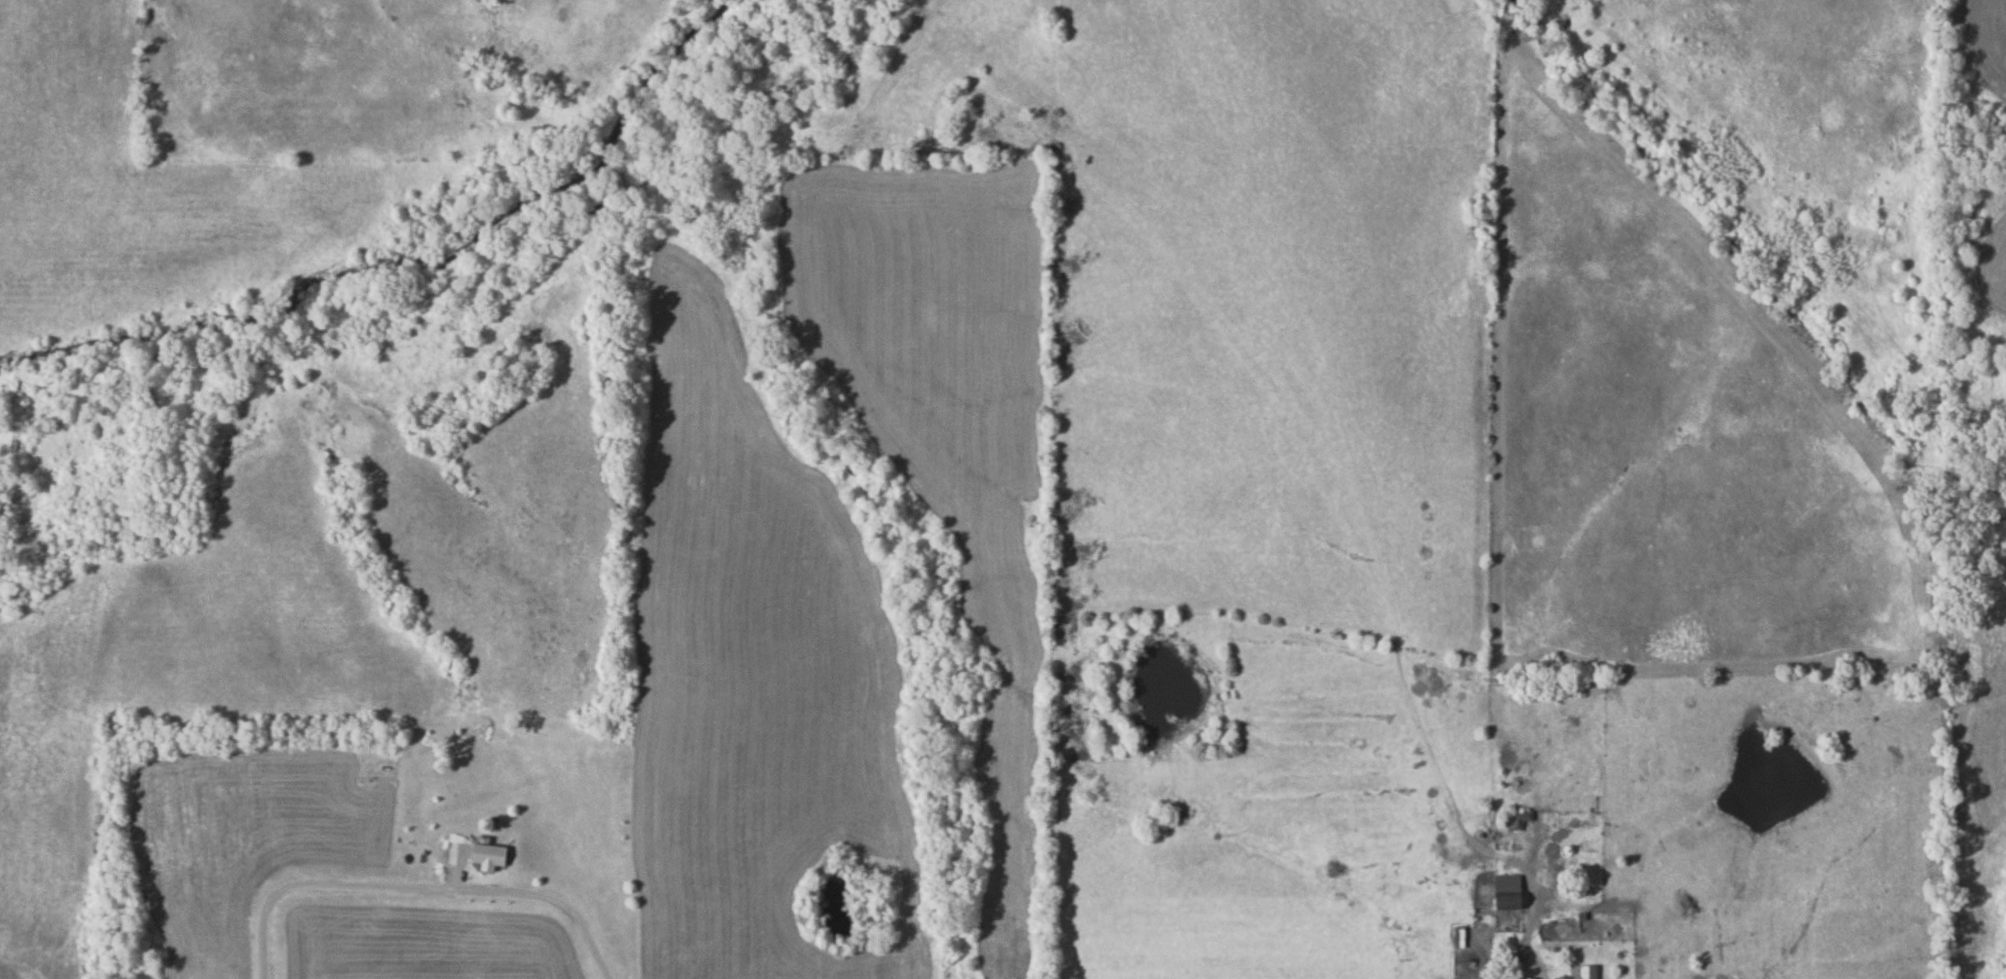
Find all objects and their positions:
building: (1521, 819)
building: (491, 852)
road: (417, 889)
building: (1509, 892)
building: (1459, 937)
building: (1586, 973)

